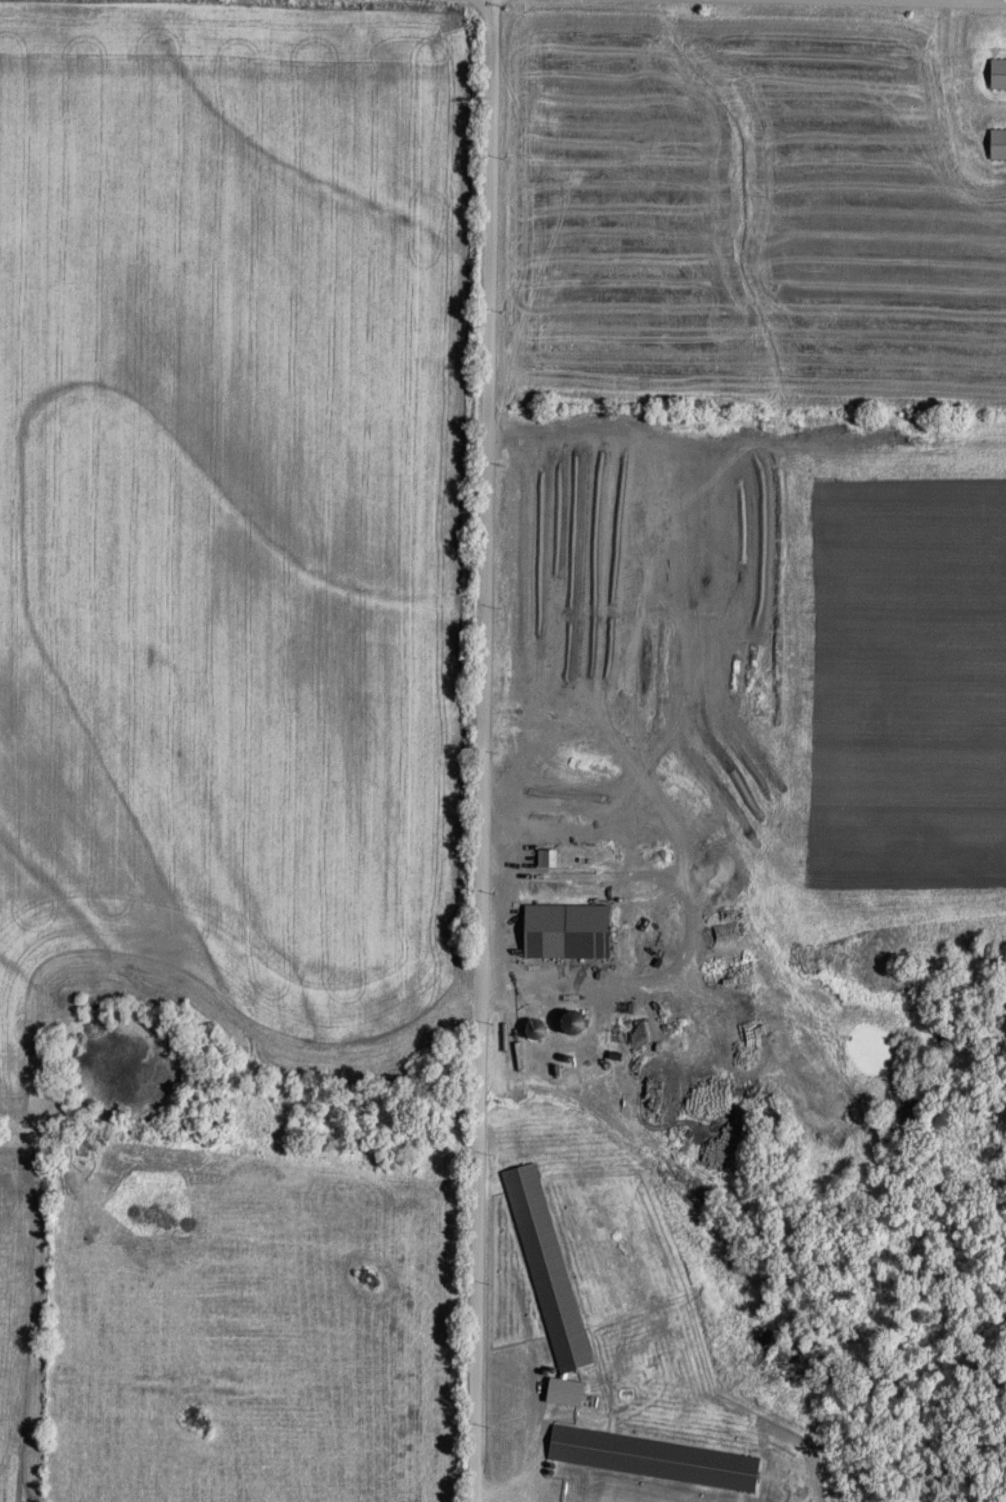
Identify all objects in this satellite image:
road: (971, 0)
building: (998, 73)
building: (998, 144)
road: (484, 751)
building: (567, 930)
building: (547, 1267)
building: (653, 1377)
road: (548, 1411)
building: (654, 1458)

